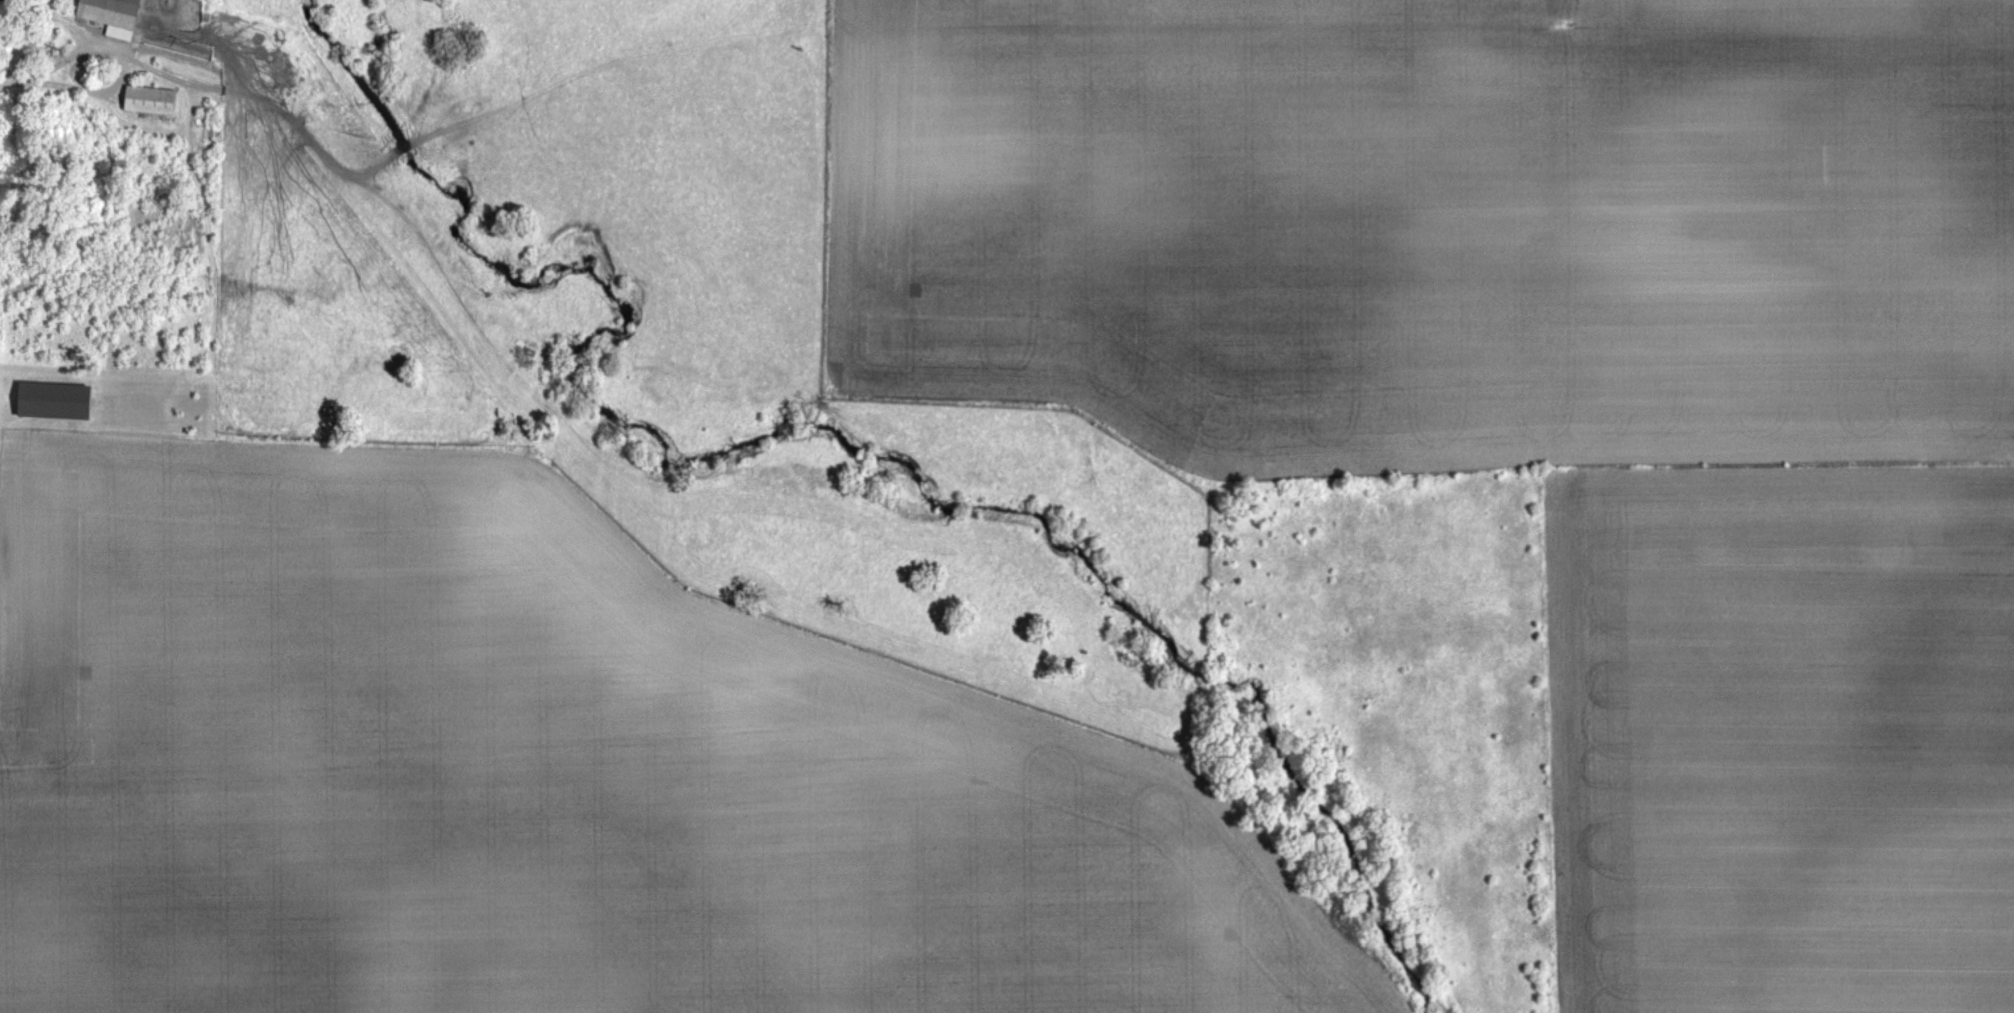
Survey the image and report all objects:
building: (118, 16)
road: (90, 49)
building: (157, 100)
building: (63, 401)

